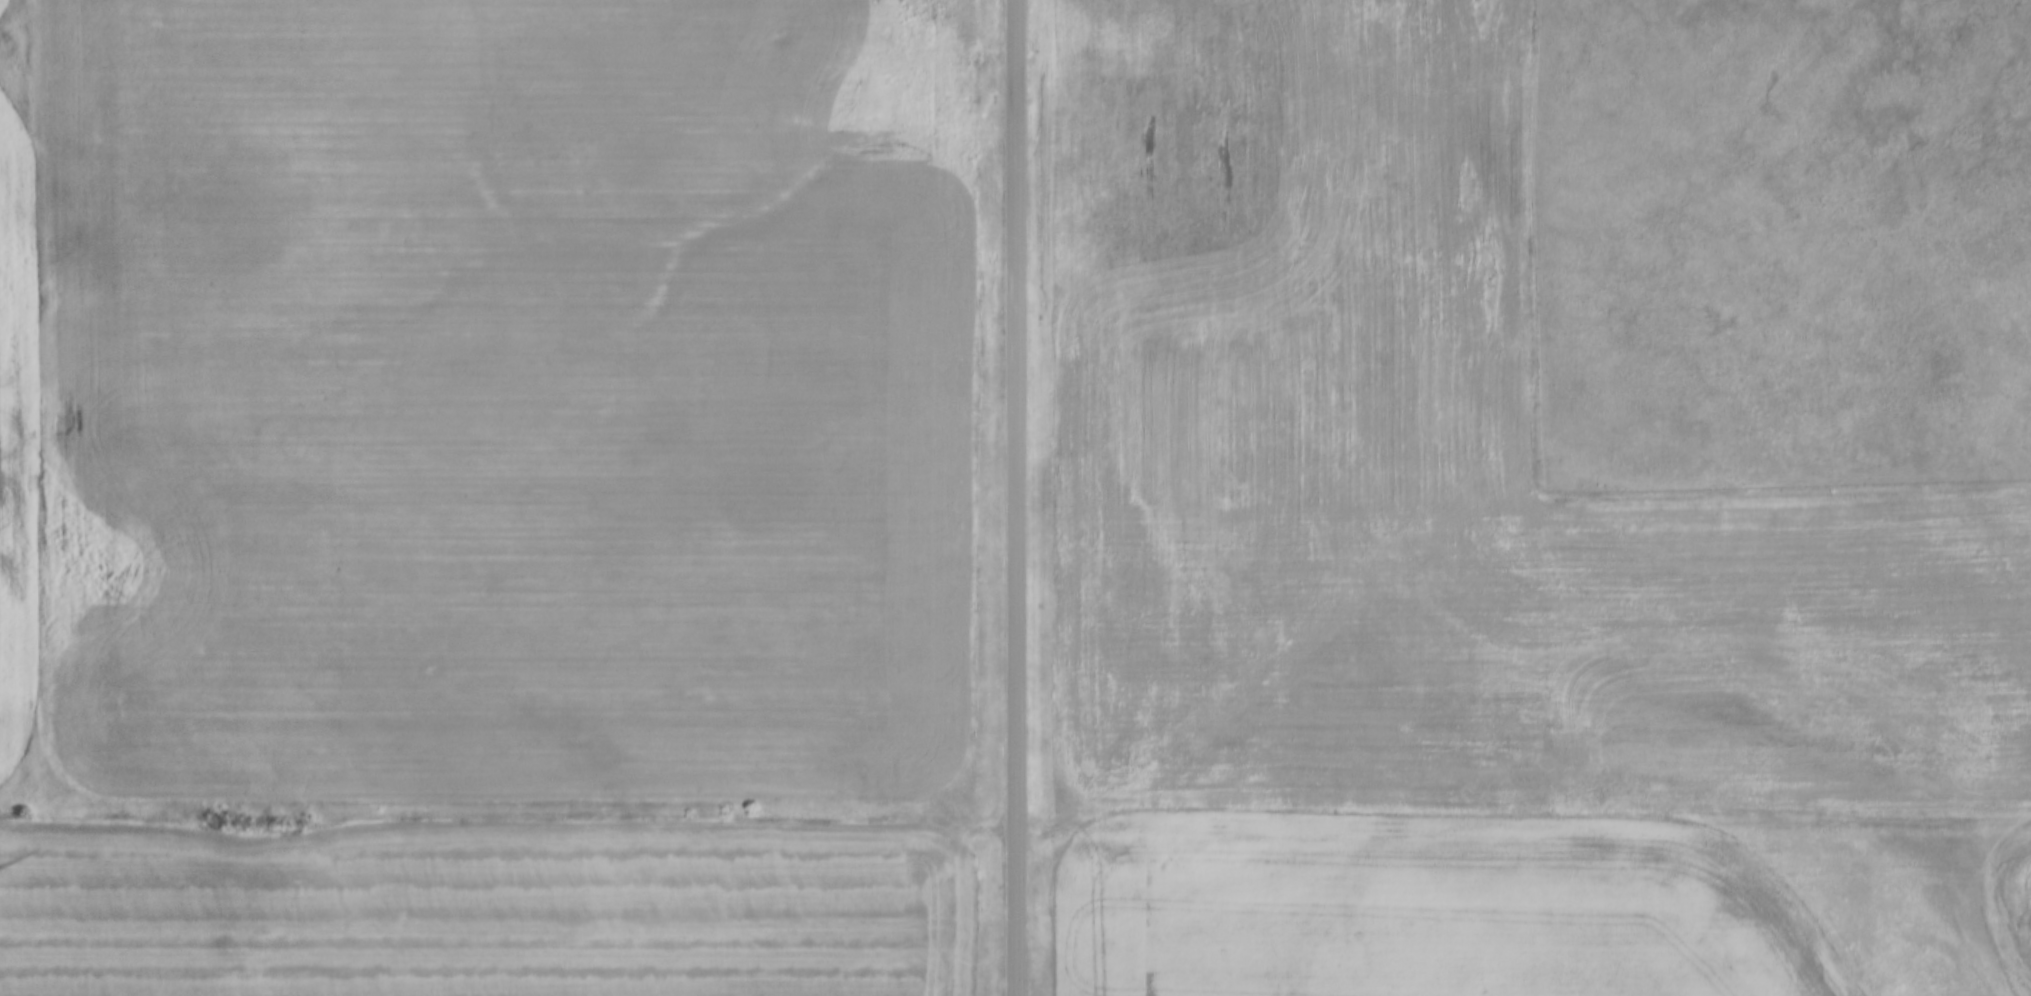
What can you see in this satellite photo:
road: (1014, 498)
road: (1522, 813)

